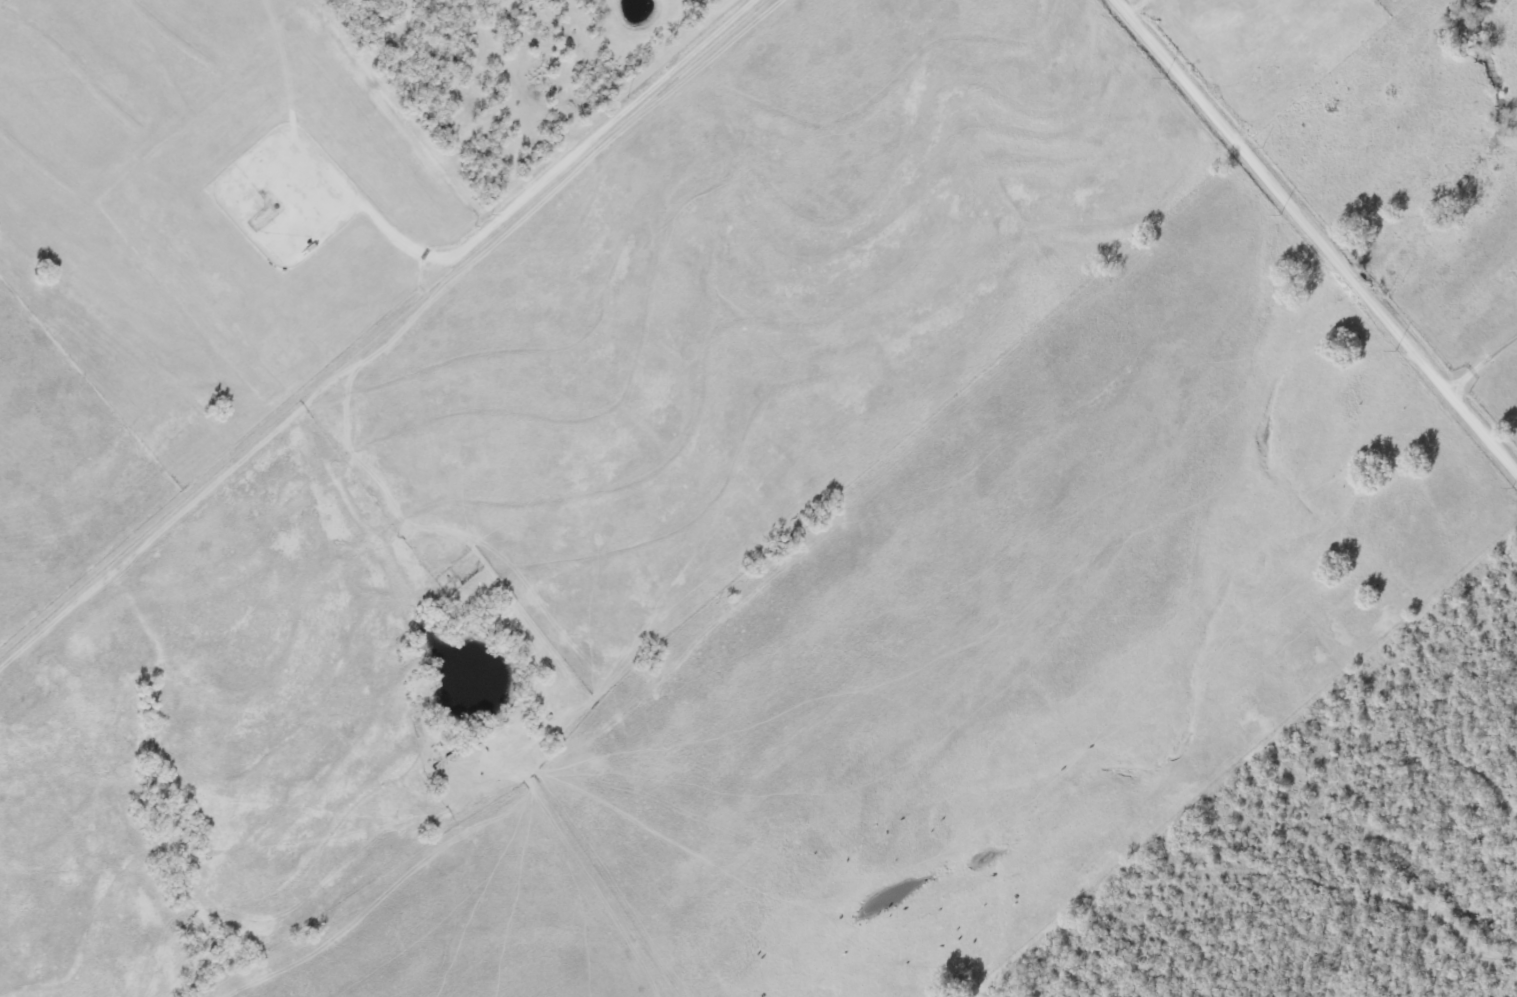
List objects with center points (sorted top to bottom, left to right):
road: (1138, 8)
road: (1316, 236)
road: (1481, 365)

